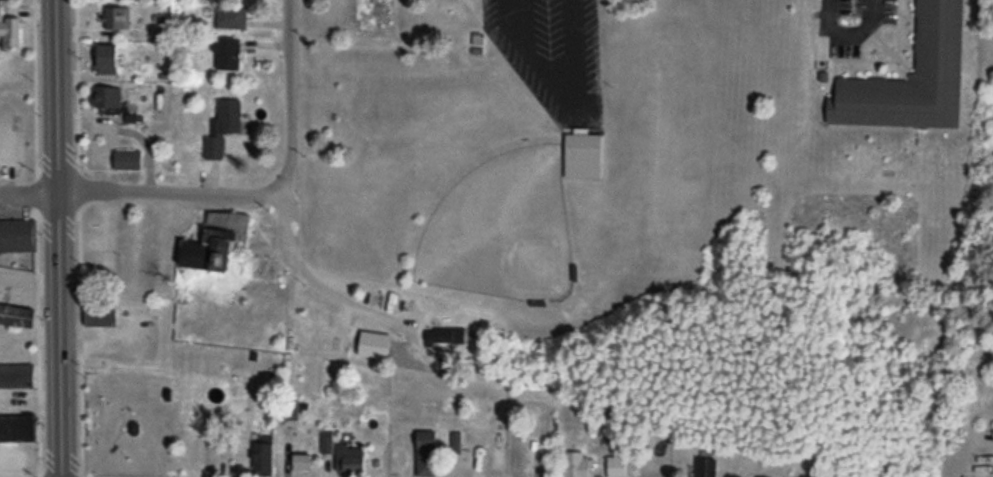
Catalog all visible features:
building: (231, 17)
building: (6, 21)
building: (121, 22)
building: (939, 38)
building: (228, 52)
building: (109, 58)
building: (347, 64)
road: (292, 95)
building: (106, 98)
building: (159, 101)
building: (224, 126)
building: (584, 153)
building: (127, 159)
road: (140, 192)
park: (505, 227)
building: (18, 237)
road: (63, 238)
building: (210, 256)
building: (17, 307)
building: (101, 315)
building: (445, 336)
building: (16, 375)
building: (15, 428)
building: (502, 449)
building: (429, 454)
building: (264, 456)
building: (346, 456)
building: (303, 463)
building: (578, 464)
building: (706, 465)
building: (617, 467)

